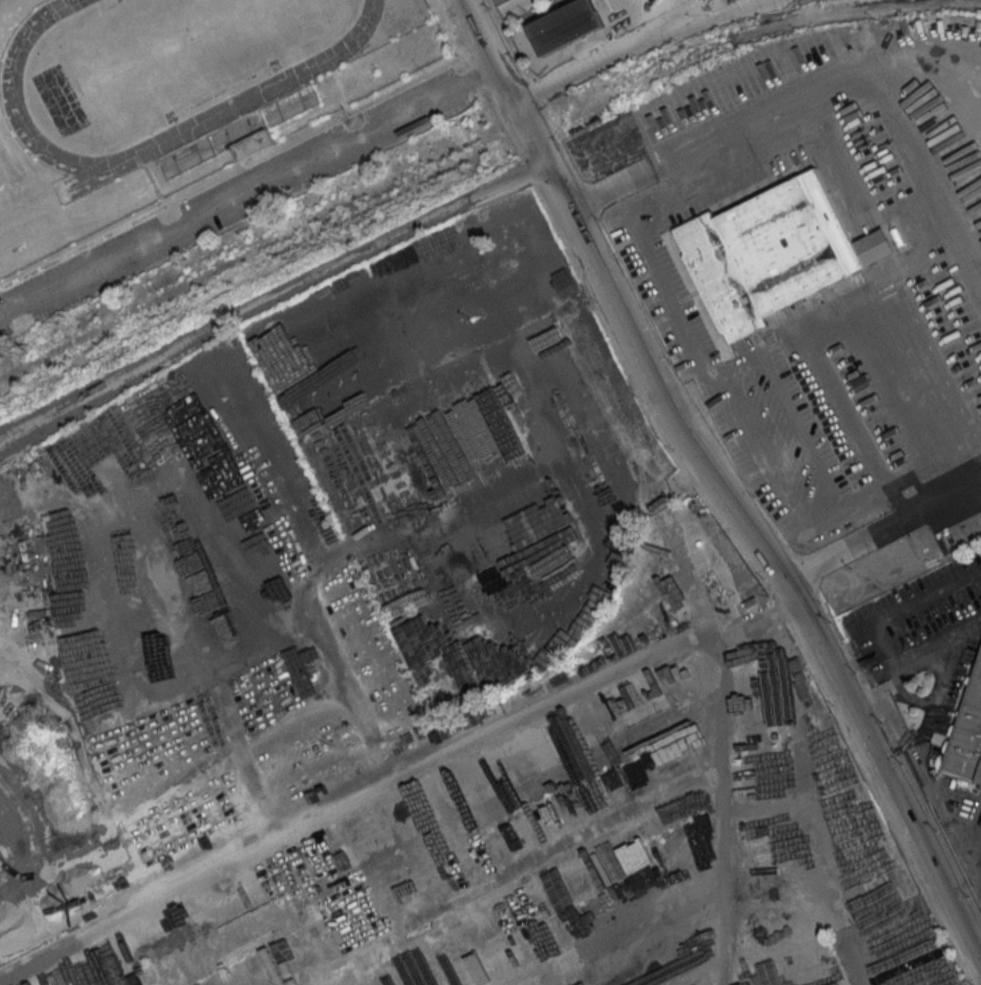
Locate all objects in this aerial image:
building: (488, 0)
building: (730, 0)
building: (500, 2)
road: (679, 13)
road: (717, 19)
road: (593, 64)
road: (926, 65)
road: (978, 67)
road: (831, 89)
building: (297, 100)
park: (195, 127)
building: (216, 148)
track: (136, 153)
road: (829, 156)
road: (243, 165)
track: (91, 176)
road: (150, 179)
road: (249, 190)
building: (775, 258)
road: (271, 297)
road: (864, 309)
road: (696, 357)
road: (788, 412)
road: (722, 491)
road: (878, 542)
road: (891, 615)
road: (936, 700)
road: (357, 706)
building: (965, 736)
road: (720, 774)
road: (545, 857)
road: (385, 942)

